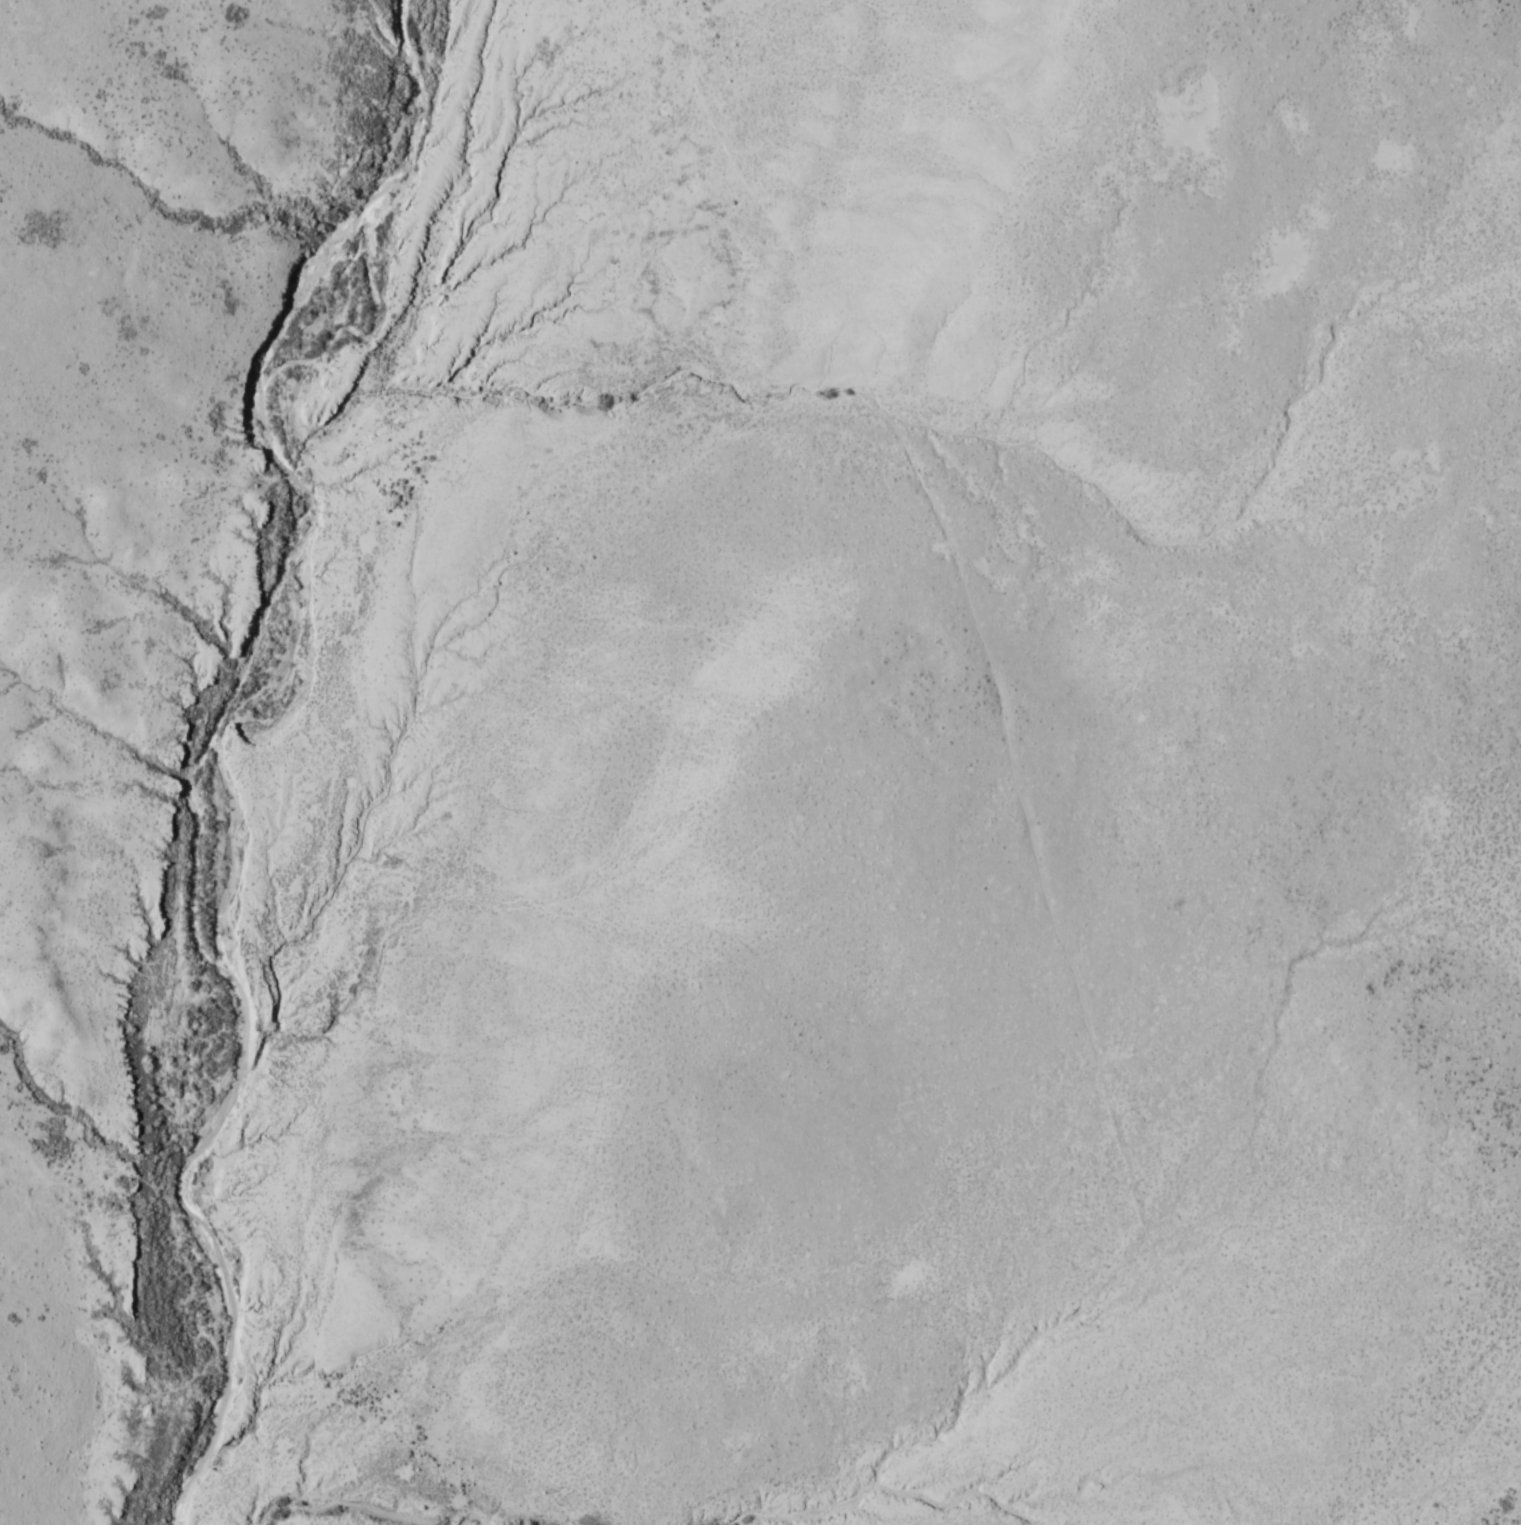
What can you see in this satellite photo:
river: (185, 753)

